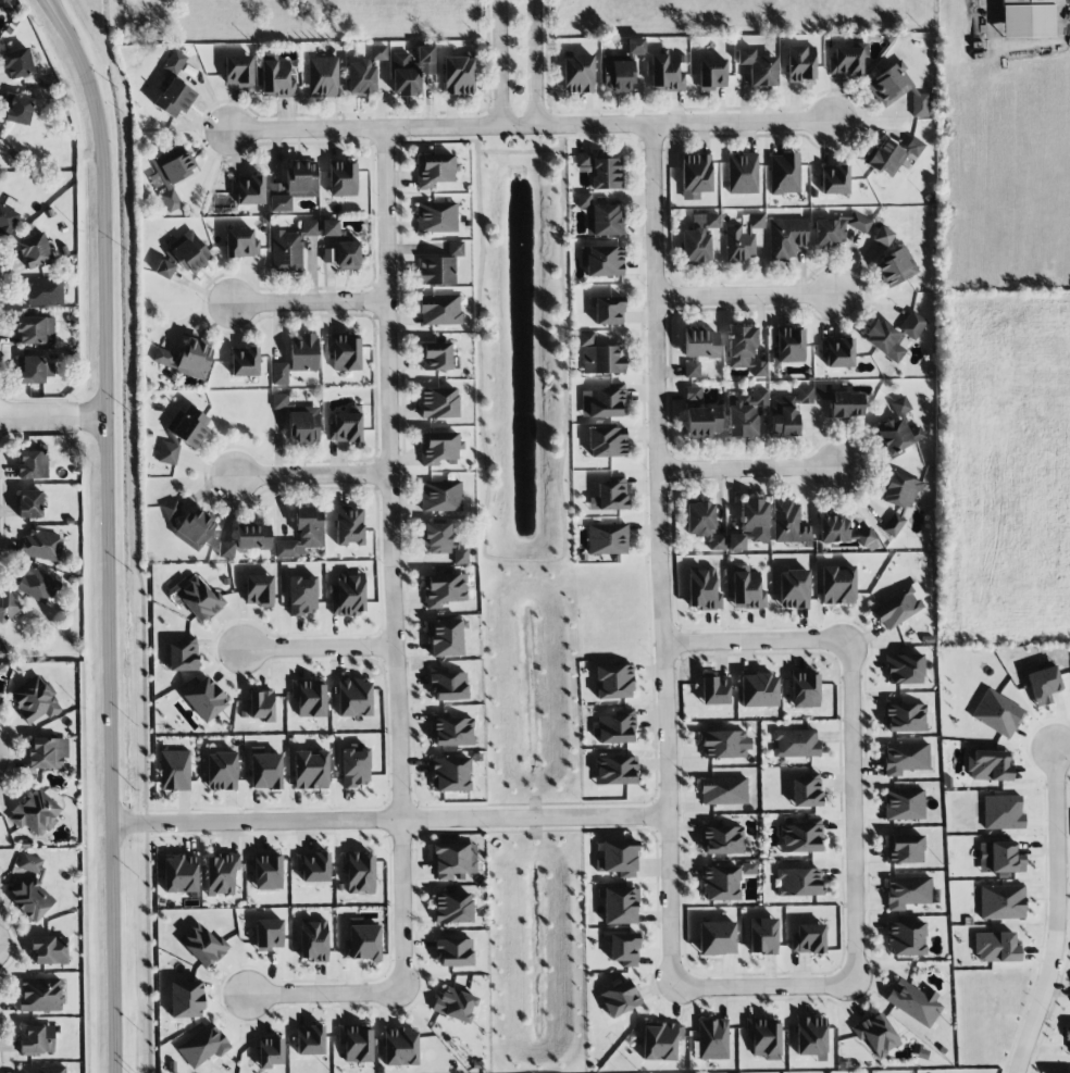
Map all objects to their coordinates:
road: (991, 17)
building: (1027, 18)
building: (378, 53)
building: (846, 61)
building: (173, 62)
building: (16, 63)
road: (500, 63)
road: (536, 63)
building: (800, 64)
building: (758, 67)
building: (620, 68)
building: (238, 71)
building: (410, 71)
building: (665, 72)
building: (577, 73)
building: (711, 74)
building: (275, 75)
building: (458, 75)
building: (323, 77)
building: (361, 77)
building: (888, 85)
building: (173, 98)
building: (919, 104)
building: (17, 110)
road: (530, 127)
road: (609, 138)
road: (430, 140)
road: (519, 152)
building: (892, 154)
building: (435, 170)
building: (601, 171)
building: (742, 173)
building: (172, 174)
building: (784, 174)
building: (695, 176)
building: (301, 179)
building: (341, 179)
building: (834, 179)
building: (248, 189)
building: (277, 198)
building: (584, 200)
building: (12, 204)
building: (436, 217)
building: (7, 221)
building: (604, 221)
building: (756, 221)
fountain: (522, 224)
building: (329, 227)
building: (837, 228)
building: (883, 236)
building: (698, 238)
building: (785, 238)
building: (738, 242)
building: (240, 244)
building: (290, 247)
building: (34, 250)
building: (343, 255)
building: (182, 257)
building: (601, 261)
building: (440, 266)
building: (895, 267)
building: (43, 291)
road: (744, 296)
road: (310, 303)
building: (439, 310)
building: (608, 311)
building: (35, 330)
building: (893, 335)
building: (699, 342)
building: (789, 346)
building: (344, 351)
building: (744, 351)
building: (837, 352)
building: (303, 353)
building: (436, 357)
building: (600, 357)
building: (164, 358)
building: (195, 358)
building: (245, 361)
building: (692, 369)
building: (35, 370)
building: (279, 373)
building: (692, 396)
building: (804, 396)
building: (279, 400)
building: (606, 402)
building: (839, 402)
building: (438, 403)
building: (900, 406)
building: (744, 413)
building: (783, 416)
road: (53, 417)
building: (700, 422)
building: (187, 426)
building: (303, 426)
building: (345, 428)
building: (896, 436)
building: (606, 441)
building: (440, 448)
building: (167, 453)
building: (33, 464)
road: (749, 469)
road: (311, 475)
building: (900, 490)
building: (440, 496)
building: (609, 496)
building: (29, 503)
building: (171, 510)
building: (755, 519)
building: (788, 523)
building: (702, 524)
building: (893, 524)
building: (348, 526)
building: (194, 528)
building: (834, 529)
road: (108, 531)
building: (301, 534)
building: (863, 535)
building: (252, 536)
building: (607, 539)
building: (443, 542)
building: (735, 542)
building: (41, 546)
building: (225, 550)
road: (661, 554)
road: (393, 561)
road: (523, 582)
building: (37, 585)
building: (837, 585)
building: (702, 589)
building: (747, 589)
building: (793, 589)
building: (259, 590)
building: (443, 590)
building: (348, 594)
building: (302, 595)
building: (199, 599)
building: (7, 606)
building: (898, 607)
building: (445, 638)
road: (756, 646)
road: (318, 649)
building: (183, 654)
building: (905, 669)
building: (613, 682)
building: (447, 684)
building: (1043, 685)
building: (714, 689)
building: (758, 690)
building: (805, 690)
building: (309, 697)
building: (353, 698)
building: (204, 699)
building: (34, 700)
building: (260, 706)
building: (997, 713)
building: (905, 718)
building: (617, 727)
building: (450, 731)
building: (795, 744)
building: (724, 745)
road: (1063, 750)
building: (47, 752)
road: (13, 756)
building: (905, 758)
building: (988, 765)
building: (354, 766)
building: (174, 770)
building: (310, 770)
building: (221, 771)
building: (265, 771)
building: (615, 771)
building: (450, 774)
building: (723, 790)
building: (806, 790)
building: (904, 804)
building: (35, 812)
building: (1003, 812)
road: (850, 813)
road: (389, 820)
building: (800, 837)
building: (722, 838)
building: (904, 849)
building: (618, 858)
building: (999, 858)
building: (453, 861)
building: (312, 866)
road: (85, 868)
building: (358, 872)
building: (267, 873)
building: (179, 874)
building: (221, 874)
building: (723, 882)
building: (798, 882)
building: (29, 888)
building: (908, 891)
building: (1001, 902)
building: (619, 906)
building: (452, 908)
road: (1056, 914)
building: (269, 934)
building: (762, 936)
building: (717, 938)
building: (906, 938)
building: (808, 939)
building: (313, 940)
building: (362, 944)
building: (201, 945)
building: (996, 947)
road: (15, 948)
building: (624, 949)
building: (49, 950)
building: (453, 952)
road: (762, 984)
road: (323, 994)
building: (40, 995)
building: (185, 999)
building: (619, 999)
building: (913, 1001)
building: (455, 1005)
building: (875, 1034)
building: (1067, 1034)
building: (764, 1037)
building: (811, 1037)
building: (37, 1039)
building: (712, 1039)
building: (310, 1040)
building: (661, 1040)
building: (356, 1043)
building: (202, 1046)
building: (400, 1047)
road: (0, 1052)
building: (269, 1052)
building: (42, 1069)

